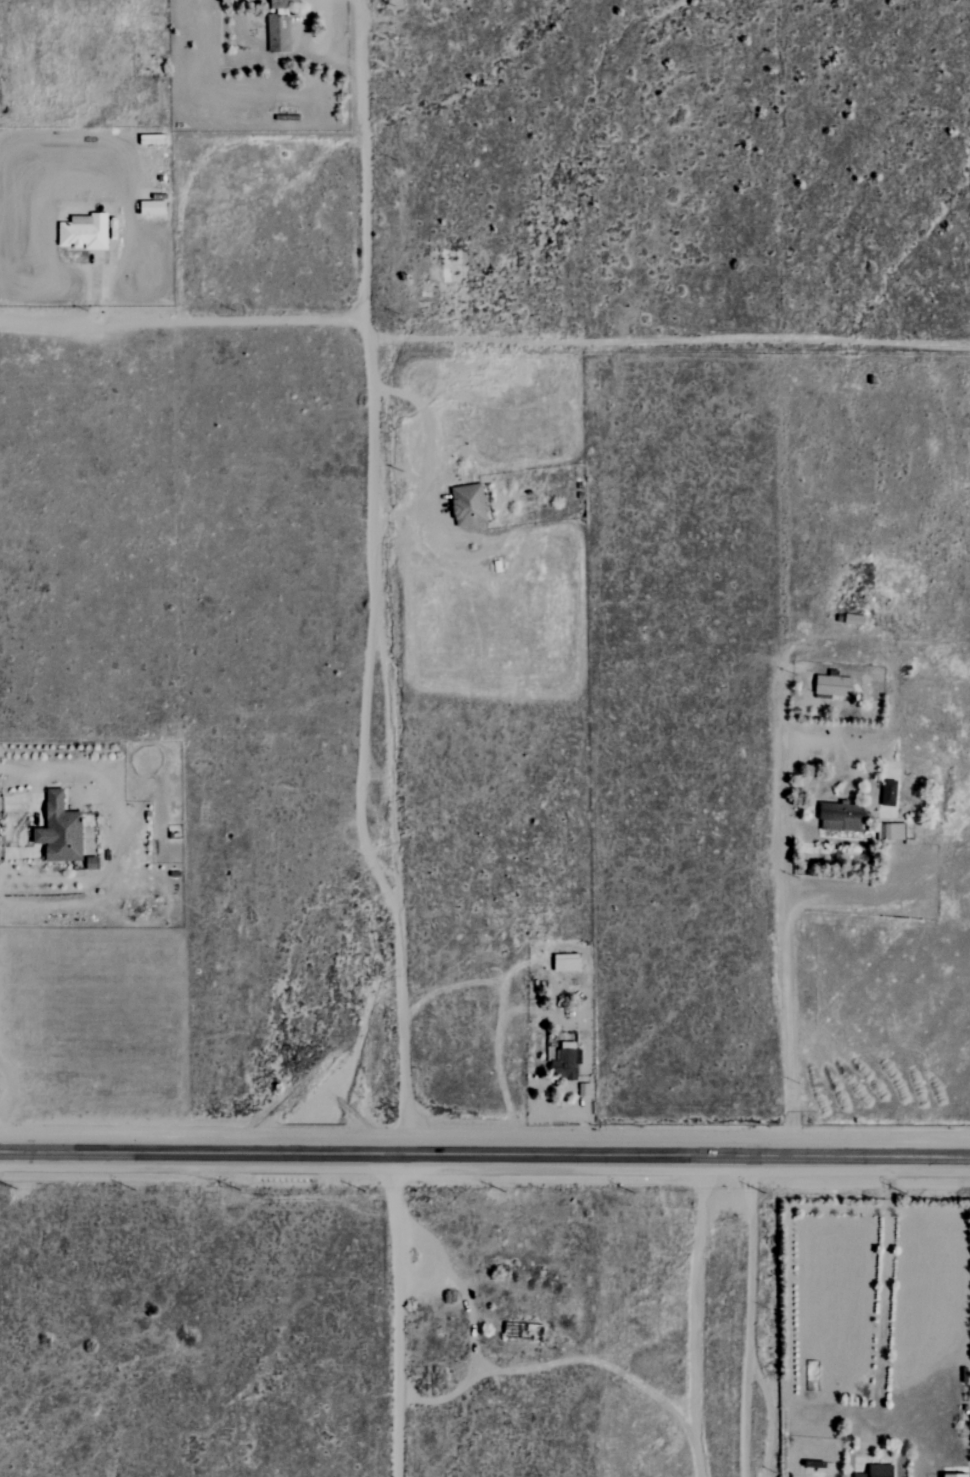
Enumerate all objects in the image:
building: (278, 4)
building: (278, 34)
road: (231, 126)
building: (152, 207)
building: (84, 232)
road: (94, 290)
road: (482, 342)
road: (436, 466)
building: (468, 505)
road: (505, 544)
road: (373, 576)
building: (832, 687)
building: (888, 793)
road: (23, 795)
building: (841, 817)
road: (36, 822)
building: (60, 830)
building: (891, 832)
road: (22, 844)
road: (906, 867)
road: (787, 911)
building: (564, 1065)
road: (485, 1154)
road: (464, 1295)
road: (882, 1306)
road: (398, 1315)
road: (696, 1316)
road: (747, 1317)
road: (556, 1363)
building: (955, 1475)

